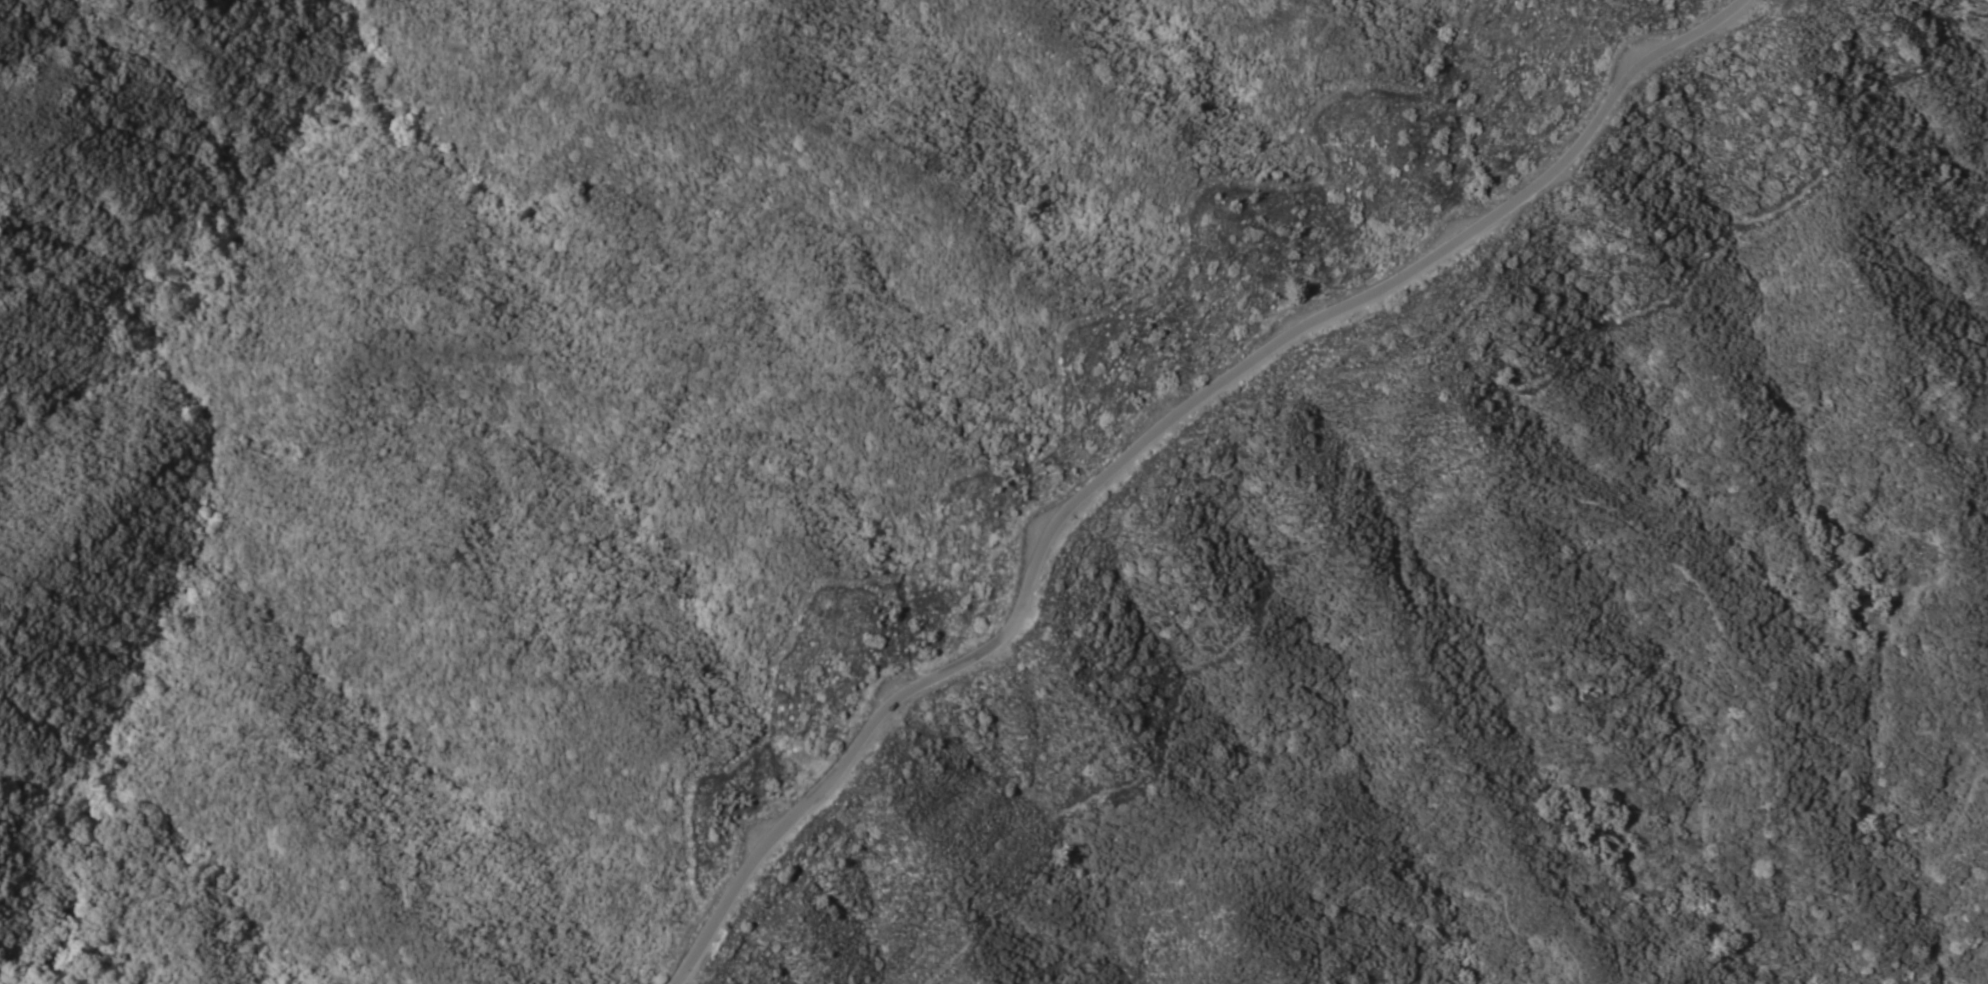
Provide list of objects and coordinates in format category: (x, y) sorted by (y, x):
road: (1151, 438)
road: (1759, 783)
road: (1447, 870)

